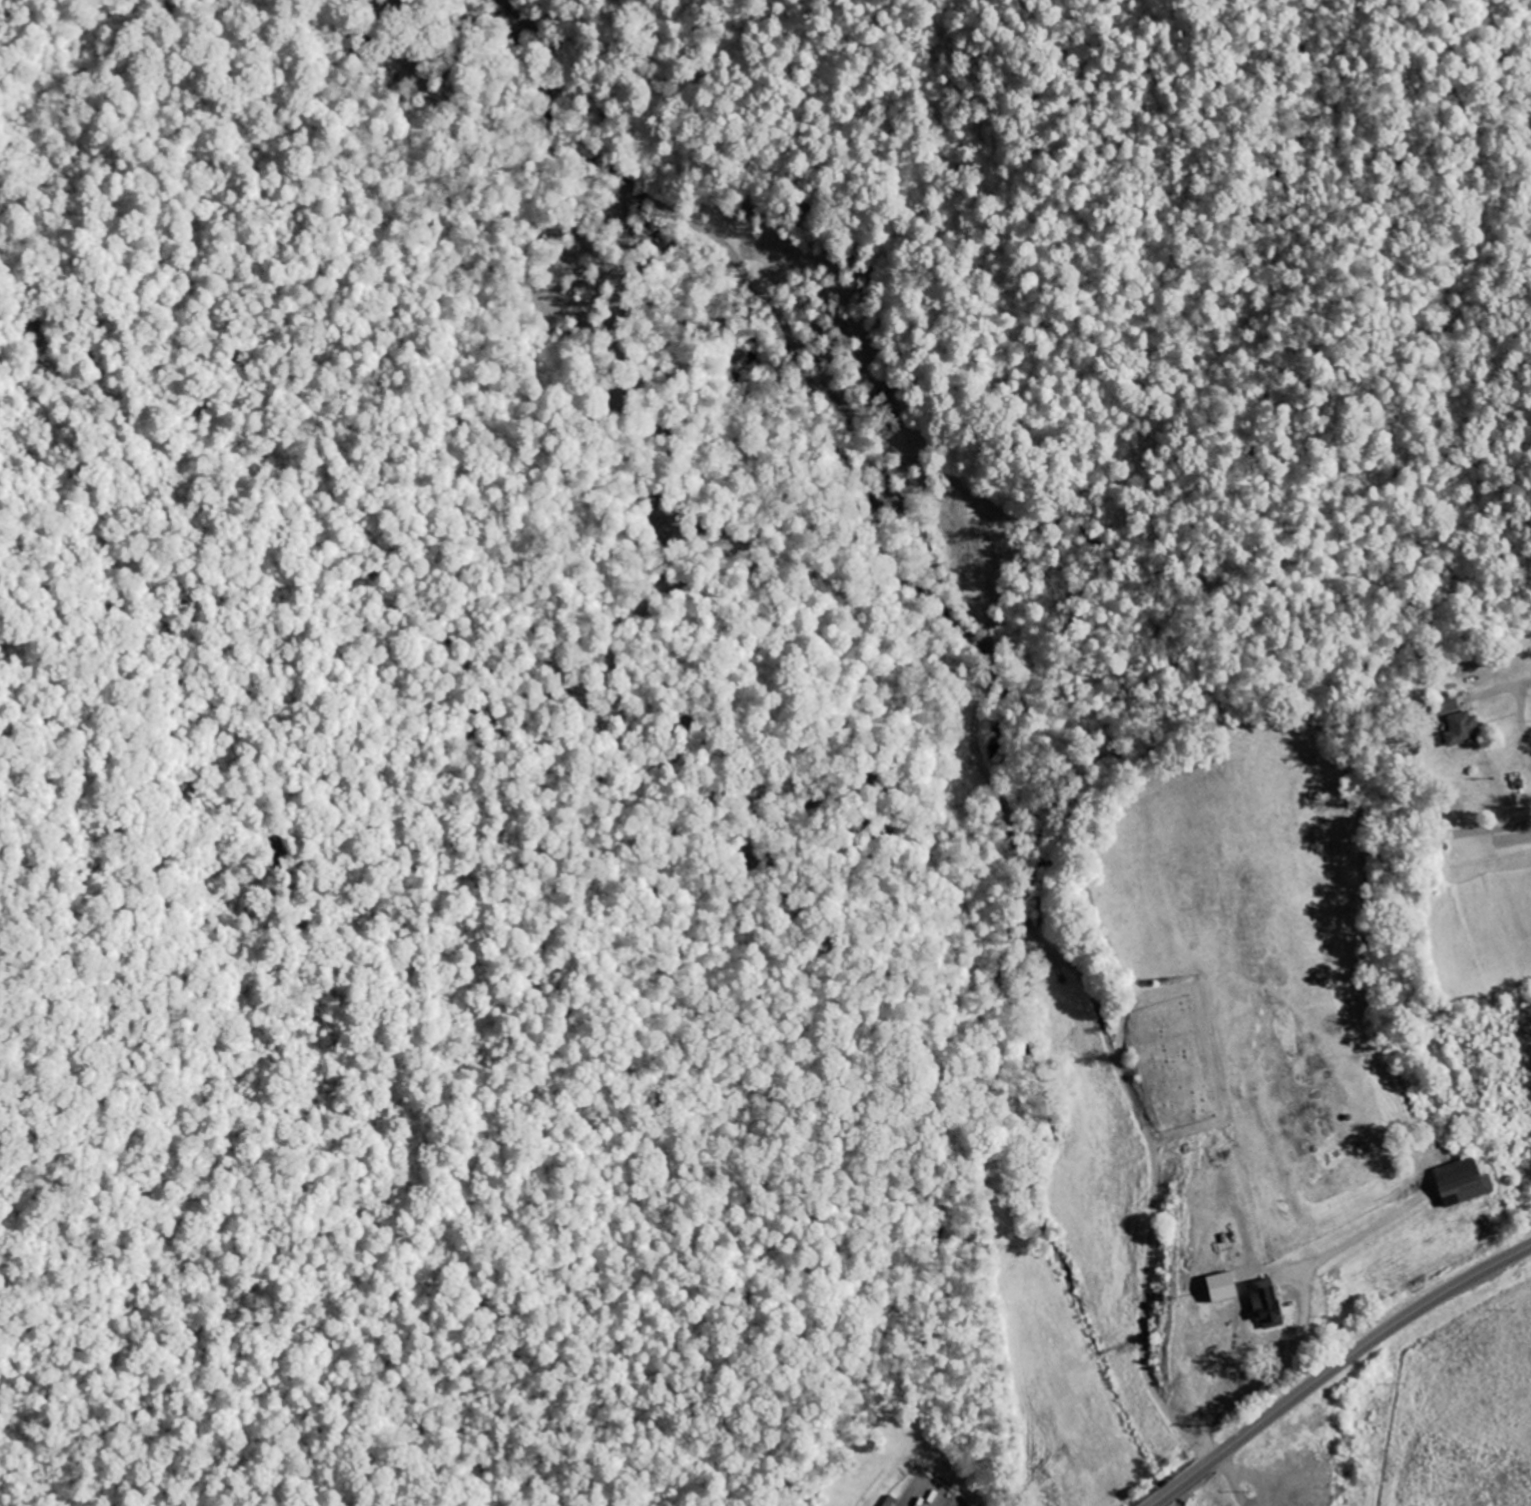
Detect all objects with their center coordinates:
road: (973, 683)
building: (1452, 704)
road: (1518, 704)
building: (1463, 729)
road: (1120, 1030)
park: (1173, 1062)
building: (1463, 1182)
building: (1223, 1287)
building: (1267, 1303)
road: (1304, 1314)
road: (1336, 1367)
road: (1234, 1479)

